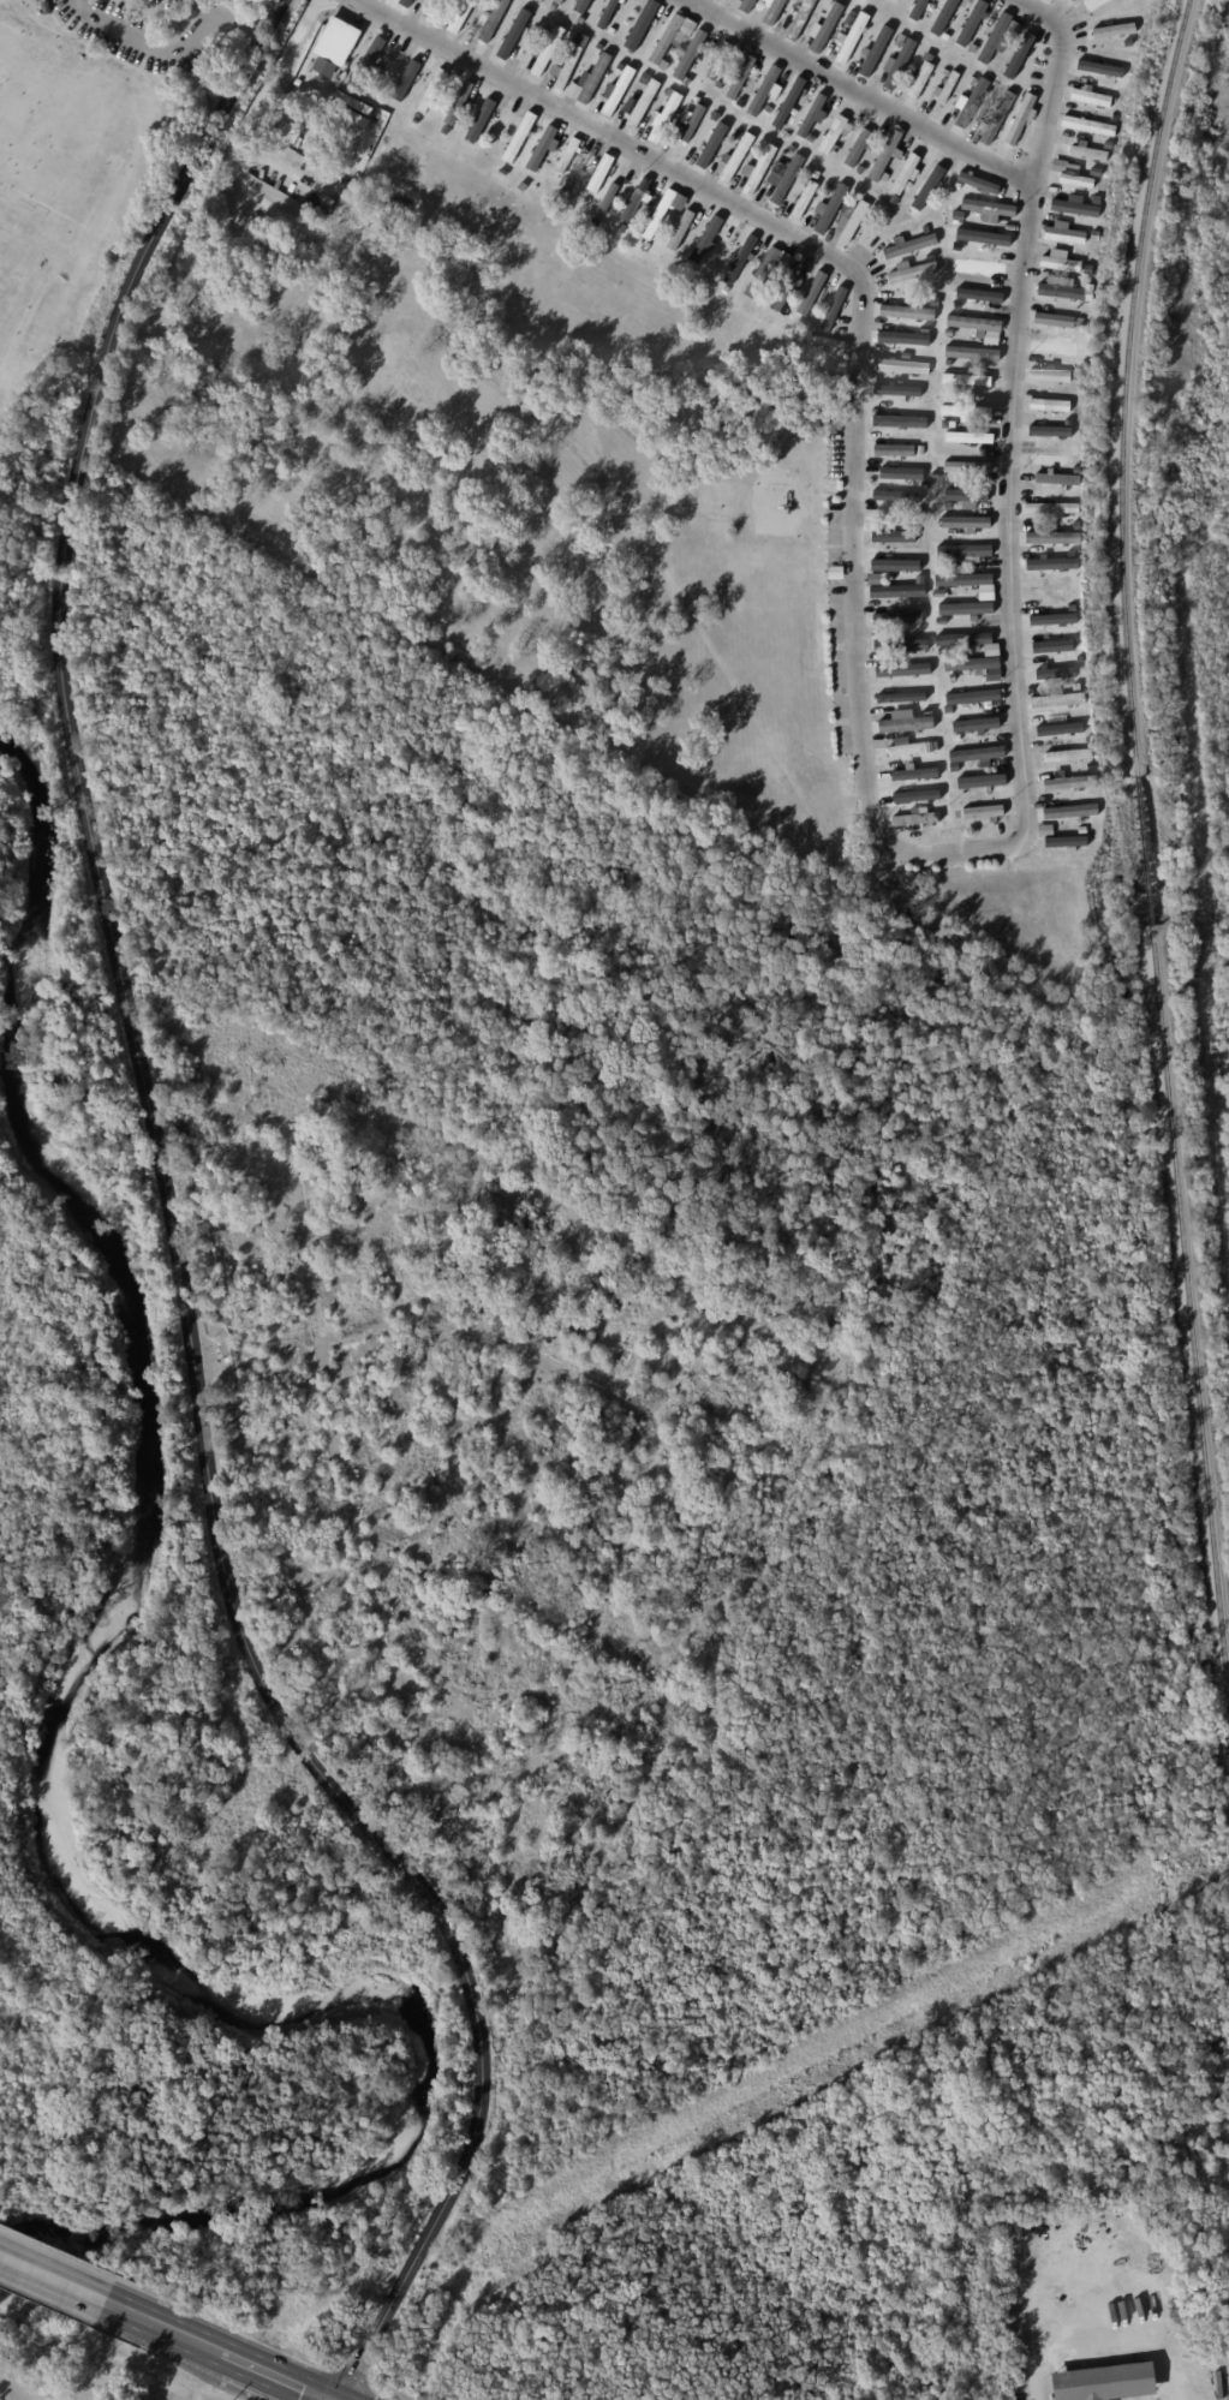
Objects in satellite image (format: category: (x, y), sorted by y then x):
building: (722, 0)
building: (866, 0)
building: (897, 0)
building: (538, 1)
building: (557, 1)
building: (405, 2)
building: (1093, 4)
building: (746, 5)
road: (203, 6)
building: (30, 7)
building: (553, 7)
building: (46, 8)
building: (431, 8)
building: (919, 8)
building: (580, 10)
building: (772, 10)
building: (1136, 11)
building: (607, 13)
building: (949, 14)
building: (459, 16)
building: (799, 18)
building: (847, 19)
building: (491, 20)
building: (973, 23)
road: (238, 24)
building: (611, 24)
building: (531, 25)
building: (644, 25)
building: (827, 26)
building: (1110, 26)
building: (515, 29)
parking lot: (141, 30)
building: (542, 32)
building: (672, 36)
building: (995, 36)
building: (849, 37)
building: (580, 40)
building: (897, 40)
building: (341, 41)
road: (147, 47)
building: (876, 50)
building: (547, 52)
building: (690, 54)
building: (996, 56)
building: (1015, 56)
building: (400, 58)
building: (717, 60)
building: (368, 64)
building: (586, 65)
building: (895, 65)
building: (618, 66)
building: (662, 66)
building: (565, 67)
building: (914, 67)
building: (1099, 67)
building: (943, 72)
building: (642, 77)
building: (580, 78)
building: (593, 78)
building: (740, 78)
building: (918, 80)
building: (717, 84)
building: (386, 85)
building: (408, 86)
building: (945, 88)
road: (866, 89)
building: (998, 89)
building: (571, 90)
building: (431, 91)
building: (616, 91)
building: (764, 91)
building: (666, 92)
building: (1120, 92)
building: (1091, 97)
building: (378, 101)
building: (693, 101)
building: (739, 102)
building: (788, 102)
building: (458, 103)
building: (642, 103)
building: (970, 103)
building: (398, 106)
building: (766, 109)
building: (715, 113)
building: (348, 115)
building: (417, 115)
building: (663, 117)
building: (812, 117)
building: (483, 118)
building: (996, 119)
building: (1020, 119)
park: (62, 121)
building: (690, 121)
building: (1087, 125)
building: (346, 131)
building: (736, 133)
building: (833, 135)
building: (810, 138)
building: (712, 142)
building: (518, 143)
building: (1106, 144)
building: (541, 148)
building: (789, 149)
building: (835, 149)
building: (858, 149)
building: (1088, 151)
building: (690, 153)
building: (328, 155)
building: (569, 155)
building: (885, 156)
building: (728, 159)
building: (1056, 166)
building: (858, 168)
building: (757, 169)
building: (1096, 172)
building: (599, 174)
building: (906, 174)
building: (783, 178)
building: (632, 180)
building: (1078, 180)
building: (616, 183)
building: (569, 184)
building: (977, 184)
building: (925, 189)
building: (607, 197)
building: (642, 198)
building: (804, 199)
building: (586, 201)
building: (1072, 207)
building: (829, 209)
building: (988, 209)
building: (668, 213)
building: (1100, 214)
building: (957, 215)
building: (686, 220)
building: (849, 221)
building: (1064, 233)
building: (1094, 237)
building: (704, 238)
building: (984, 239)
building: (679, 243)
building: (732, 244)
building: (648, 245)
building: (909, 246)
building: (965, 247)
building: (740, 261)
building: (1058, 262)
building: (714, 269)
building: (984, 269)
building: (1087, 269)
park: (23, 270)
building: (768, 270)
building: (911, 271)
building: (971, 279)
building: (788, 287)
building: (1063, 289)
building: (727, 291)
building: (812, 294)
building: (977, 298)
park: (1189, 304)
building: (953, 305)
building: (899, 308)
building: (834, 311)
building: (925, 311)
building: (1056, 320)
building: (1080, 323)
building: (974, 324)
building: (909, 327)
building: (948, 333)
building: (905, 338)
building: (996, 338)
building: (1051, 345)
building: (972, 354)
building: (903, 356)
building: (901, 365)
building: (1050, 371)
building: (966, 383)
building: (890, 387)
building: (943, 389)
building: (1042, 394)
building: (1049, 404)
building: (903, 411)
building: (966, 411)
building: (921, 419)
building: (943, 425)
building: (950, 425)
building: (1048, 431)
building: (968, 438)
building: (891, 448)
building: (919, 450)
building: (1050, 458)
building: (967, 468)
building: (903, 472)
building: (932, 474)
building: (1055, 480)
building: (889, 494)
building: (967, 496)
building: (905, 505)
building: (1051, 507)
building: (965, 524)
building: (888, 536)
building: (1050, 537)
building: (872, 551)
building: (1076, 551)
building: (920, 553)
building: (968, 554)
building: (1051, 562)
building: (897, 563)
building: (945, 565)
building: (833, 573)
building: (1075, 577)
building: (872, 578)
building: (1026, 581)
building: (965, 584)
building: (899, 591)
building: (1046, 591)
building: (1075, 592)
building: (883, 607)
building: (923, 607)
building: (966, 613)
building: (1052, 617)
building: (899, 619)
building: (947, 626)
building: (913, 634)
building: (903, 635)
building: (962, 640)
building: (1048, 641)
building: (903, 644)
building: (881, 645)
building: (942, 652)
building: (924, 658)
building: (972, 665)
building: (900, 669)
building: (1050, 671)
building: (903, 688)
building: (972, 697)
building: (899, 698)
building: (1050, 704)
building: (926, 709)
building: (948, 710)
building: (903, 723)
building: (974, 726)
building: (1078, 728)
building: (1054, 729)
building: (978, 735)
building: (933, 746)
building: (906, 747)
building: (1062, 754)
building: (976, 756)
building: (954, 768)
road: (865, 775)
building: (912, 777)
building: (1068, 784)
building: (961, 786)
building: (992, 787)
building: (919, 796)
building: (982, 812)
building: (1067, 812)
building: (955, 814)
building: (917, 817)
building: (1058, 842)
railway: (1136, 862)
road: (163, 1226)
road: (79, 2289)
road: (1111, 2342)
road: (241, 2362)
wastewater plant: (84, 2371)
building: (1100, 2382)

